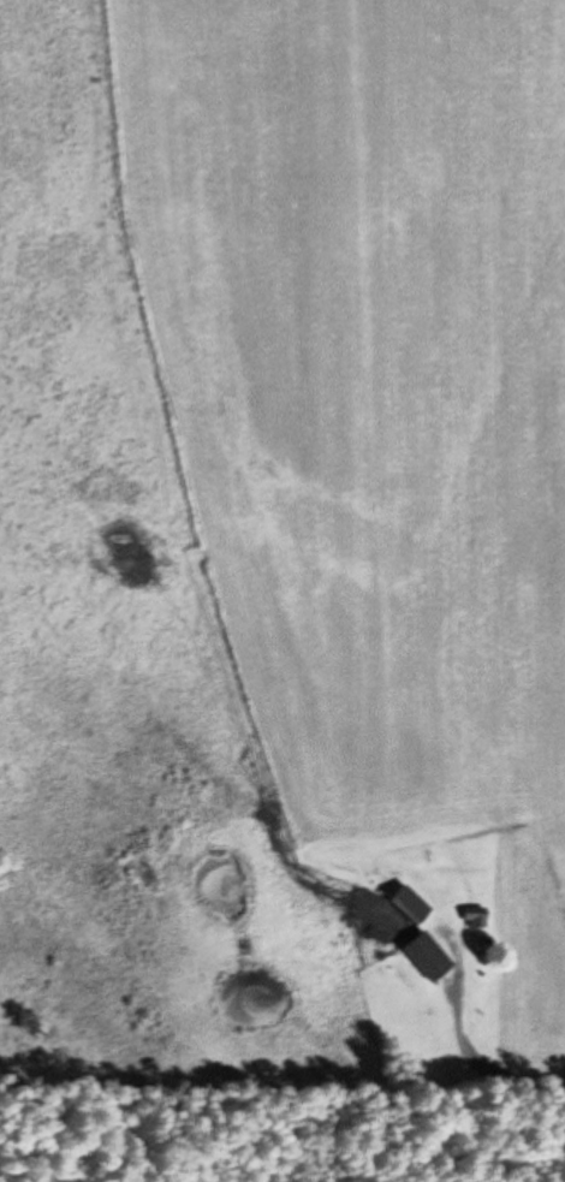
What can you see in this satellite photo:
building: (406, 905)
building: (471, 919)
building: (423, 957)
road: (477, 1022)

